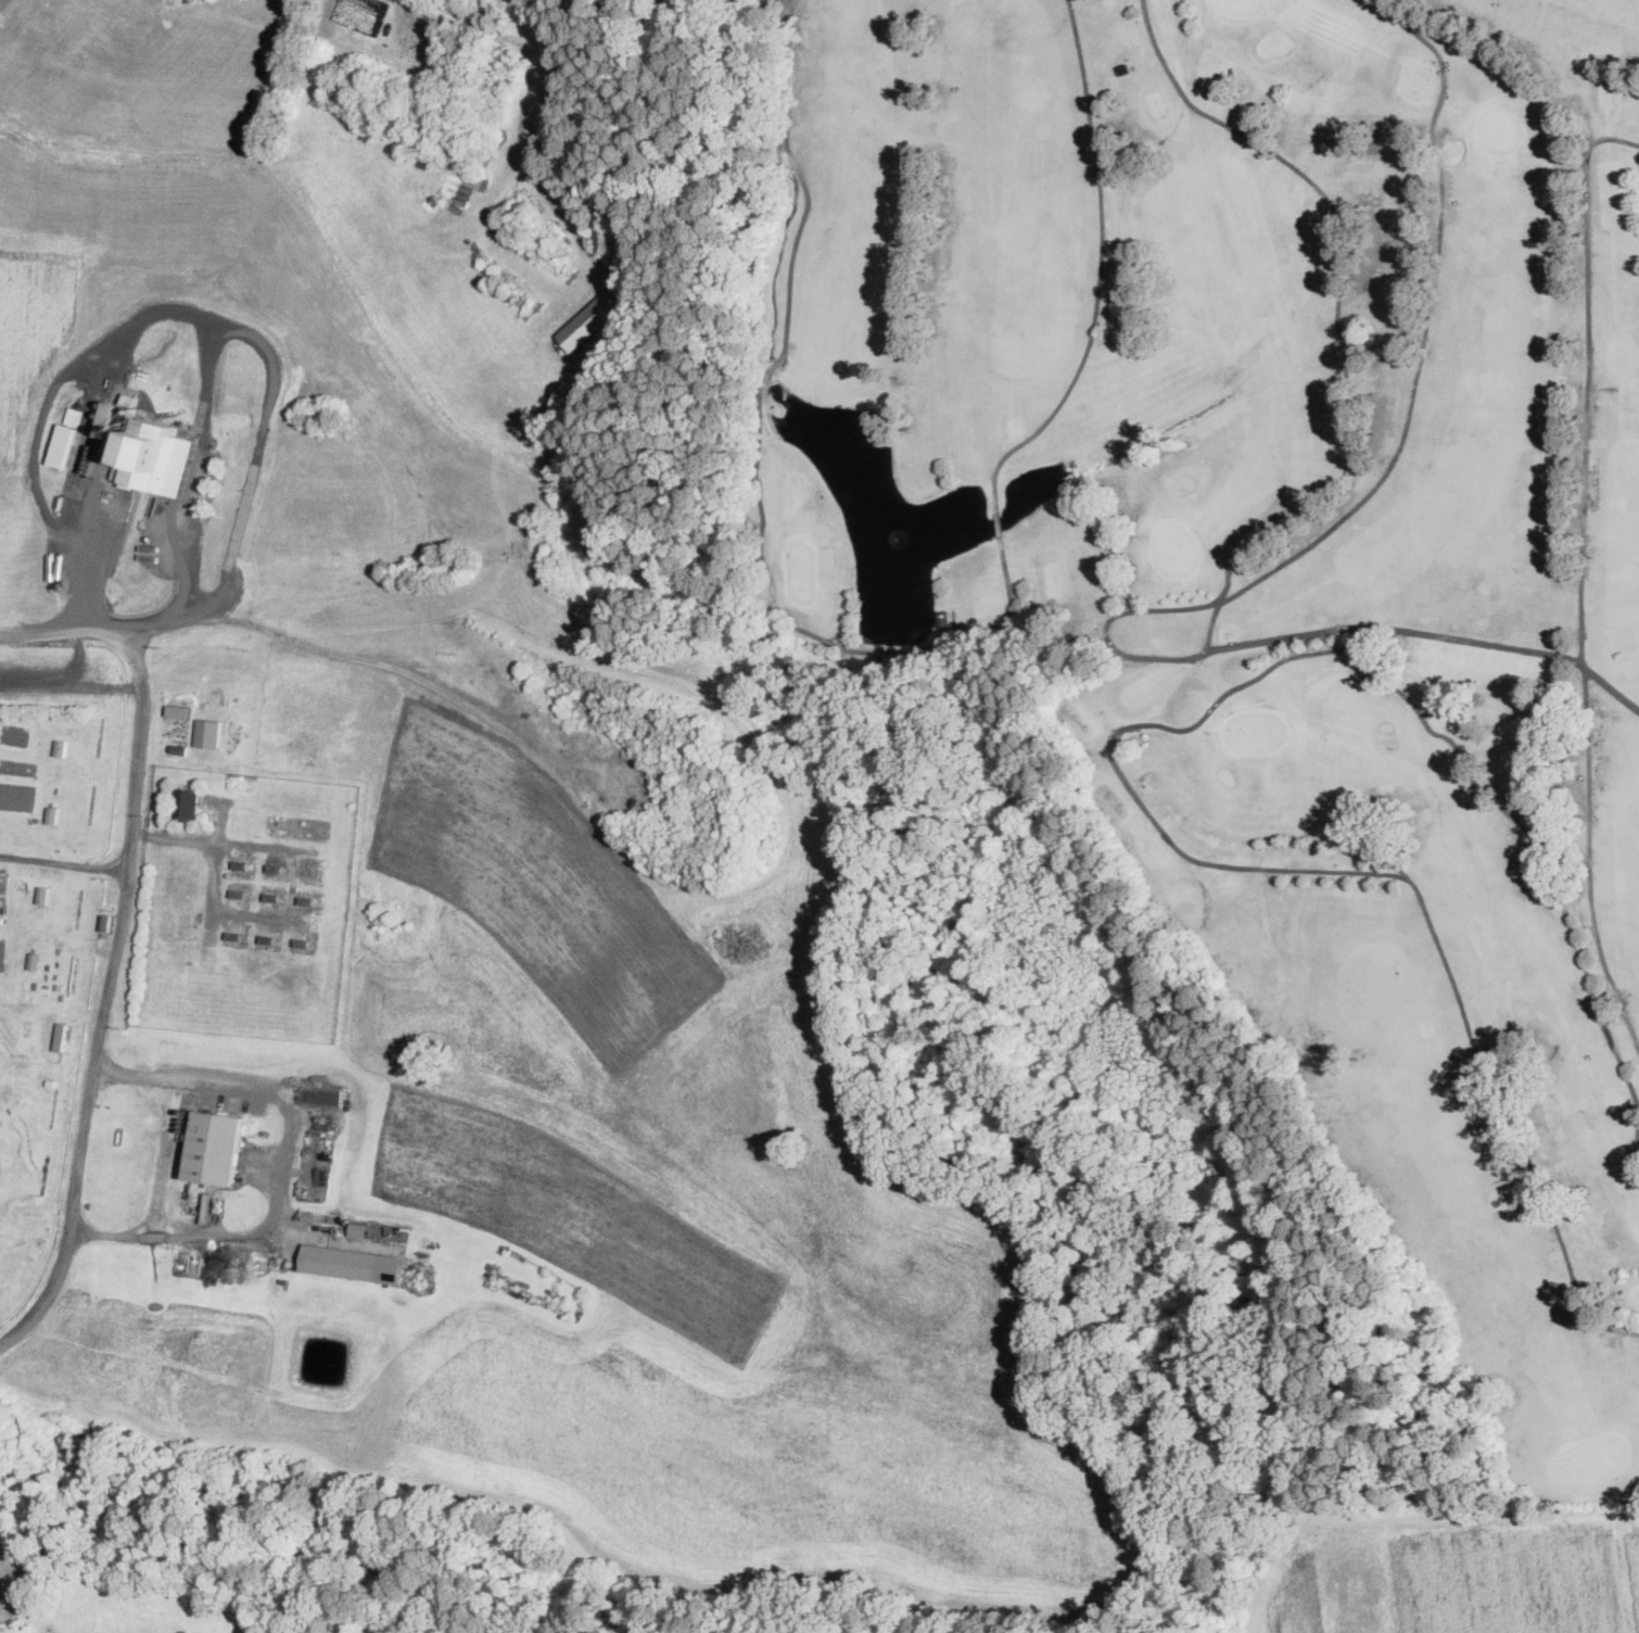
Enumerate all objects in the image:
building: (538, 26)
building: (1123, 71)
road: (525, 106)
road: (186, 308)
building: (589, 320)
building: (131, 400)
building: (73, 417)
building: (110, 420)
building: (64, 444)
building: (155, 459)
road: (198, 493)
park: (1283, 592)
building: (943, 619)
building: (179, 710)
building: (208, 732)
building: (62, 748)
building: (179, 749)
building: (186, 805)
building: (53, 815)
road: (64, 862)
building: (242, 865)
building: (276, 869)
building: (238, 894)
building: (43, 896)
building: (272, 898)
building: (307, 901)
building: (105, 924)
crop: (572, 935)
building: (234, 936)
road: (118, 940)
building: (268, 940)
building: (303, 944)
building: (36, 962)
building: (206, 964)
building: (26, 1025)
building: (61, 1035)
building: (51, 1081)
building: (215, 1149)
road: (287, 1164)
building: (359, 1227)
building: (352, 1263)

